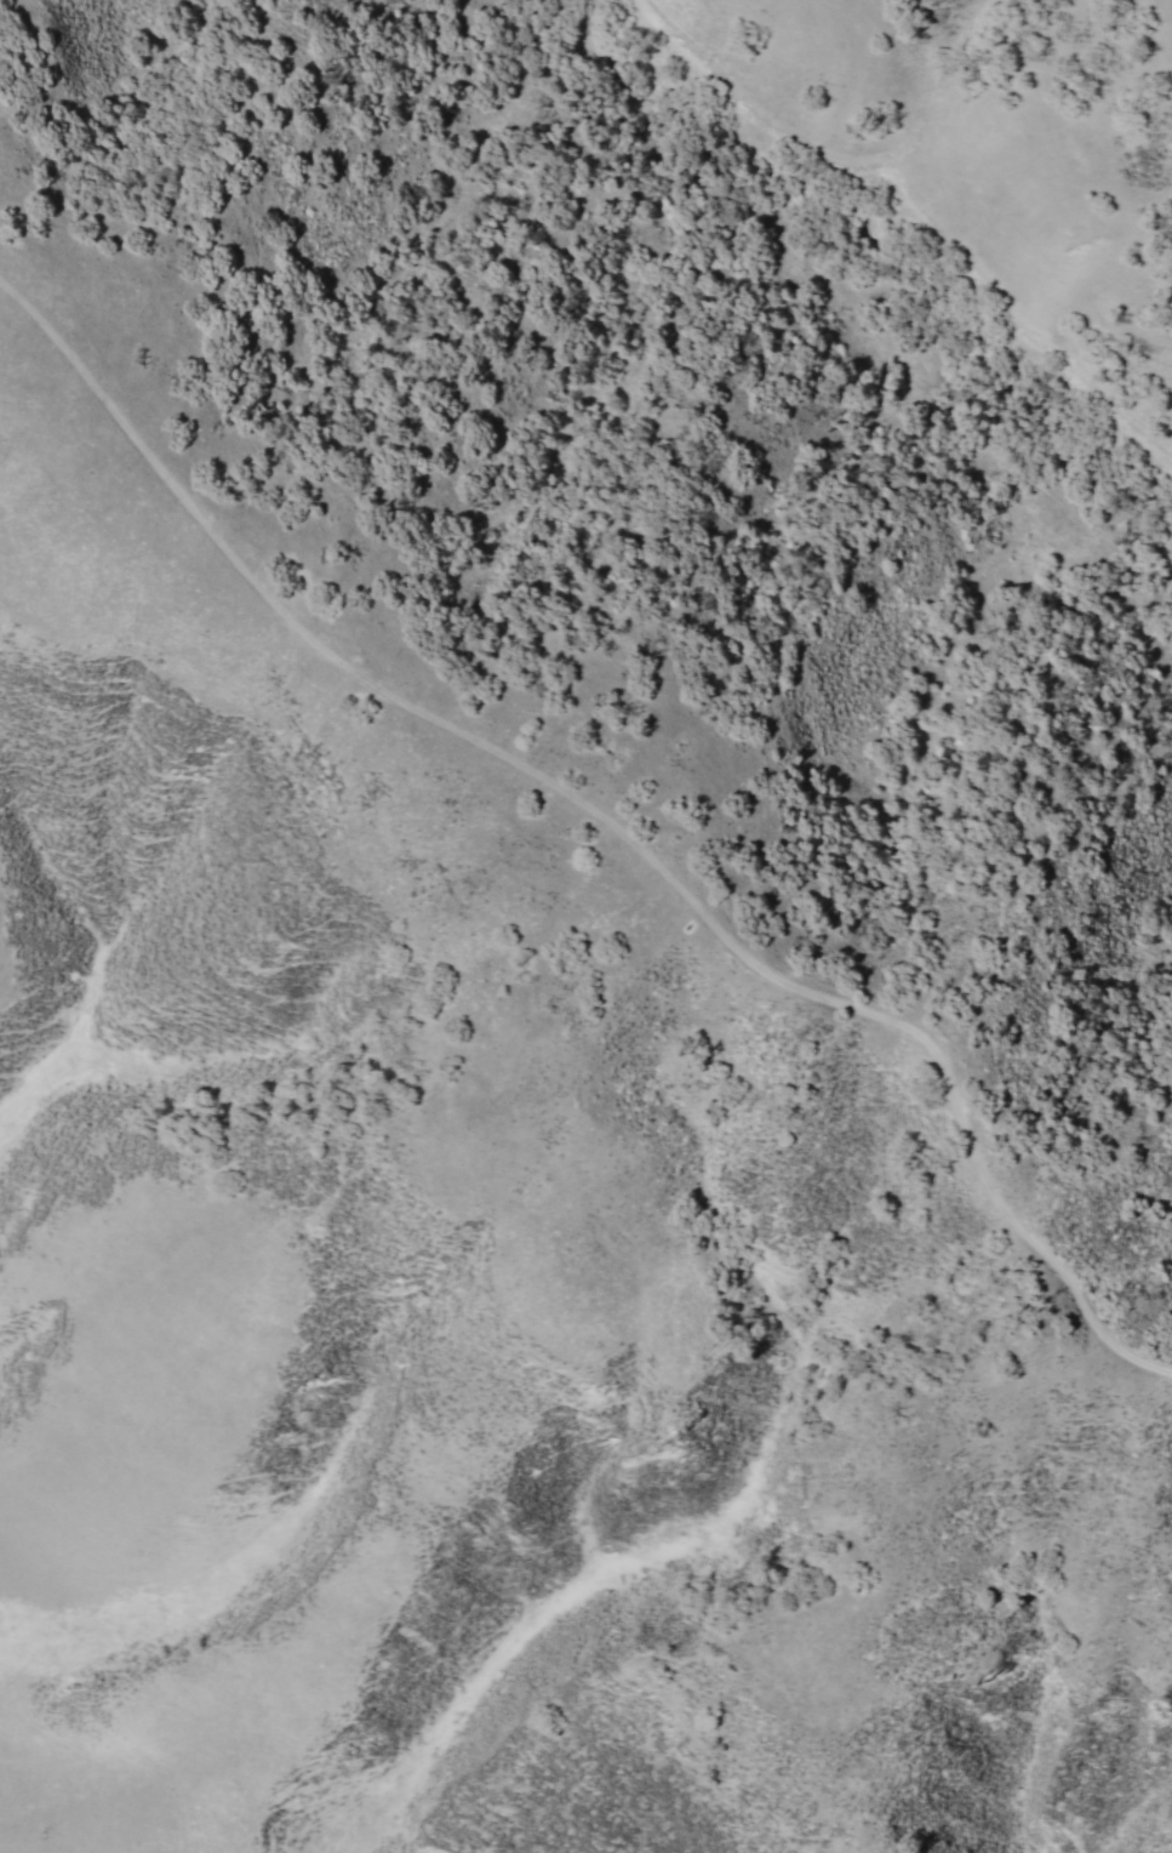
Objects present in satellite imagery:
road: (611, 815)

